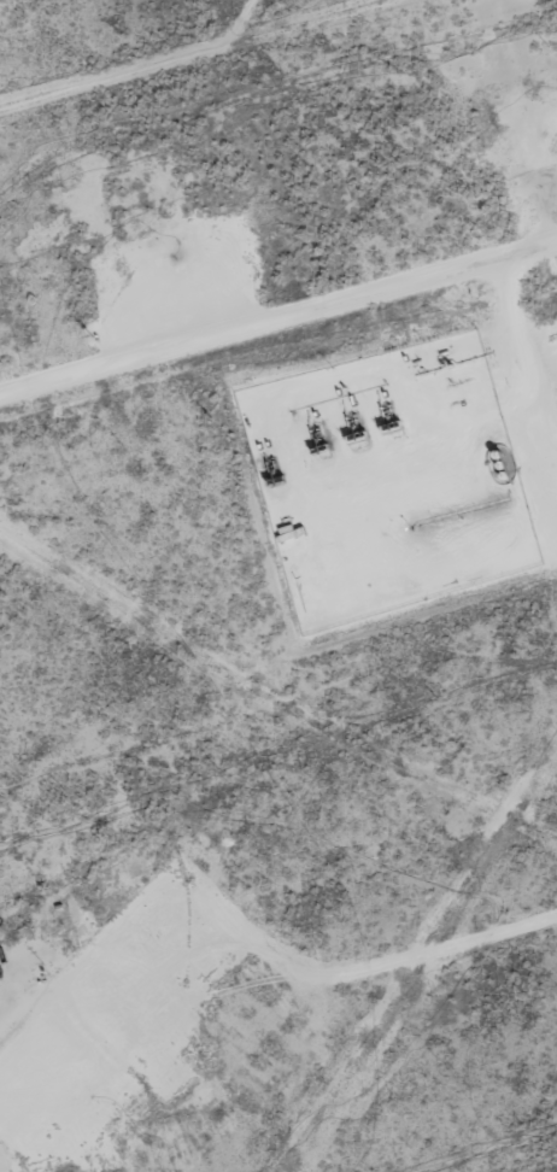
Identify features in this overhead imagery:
road: (278, 304)

